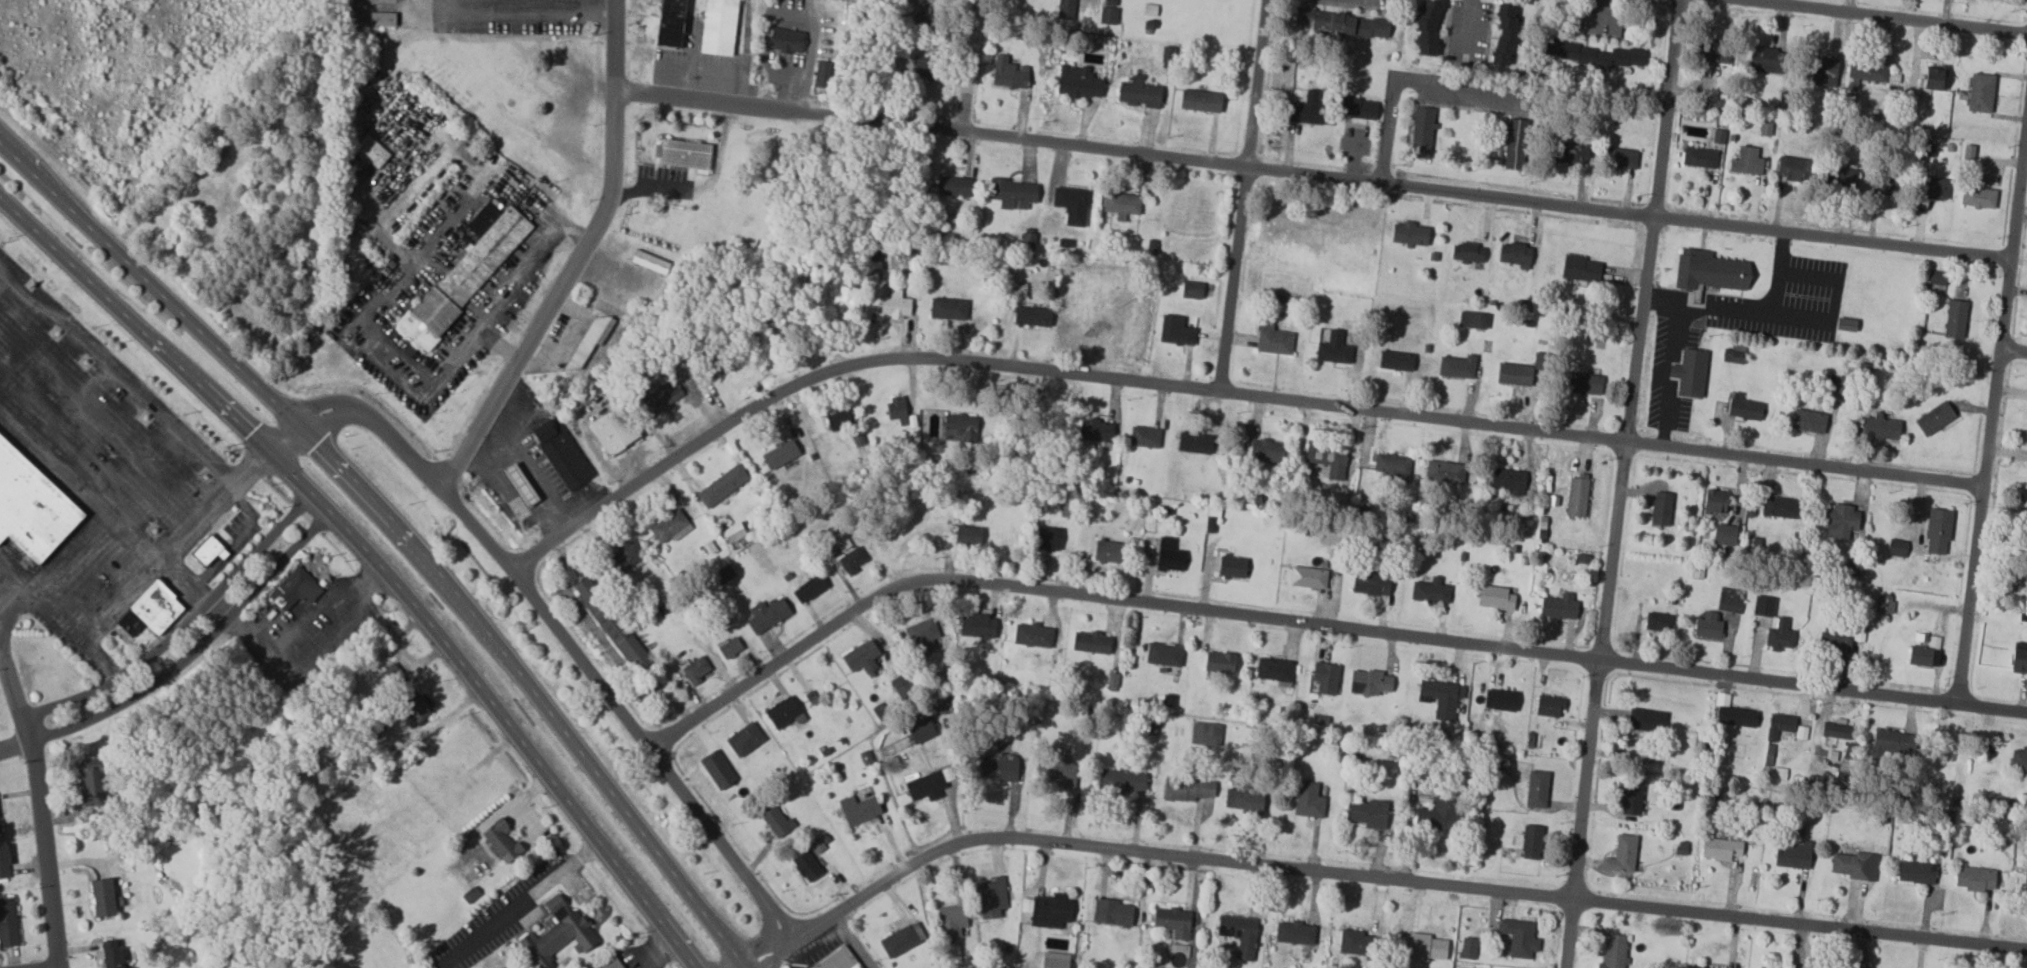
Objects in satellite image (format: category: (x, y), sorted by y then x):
building: (1066, 9)
building: (1149, 10)
building: (1109, 11)
road: (519, 14)
building: (381, 19)
road: (1873, 19)
building: (670, 23)
building: (1341, 23)
building: (718, 27)
building: (1427, 28)
building: (1504, 35)
building: (785, 41)
building: (1714, 51)
building: (1594, 55)
building: (1167, 56)
building: (1766, 61)
road: (966, 66)
building: (917, 68)
building: (1823, 72)
building: (1867, 72)
building: (1009, 73)
building: (822, 74)
road: (805, 77)
building: (1932, 79)
road: (1404, 80)
building: (1078, 81)
building: (1139, 92)
building: (1980, 93)
building: (1200, 100)
building: (1358, 107)
building: (1305, 108)
building: (1765, 126)
building: (1421, 131)
building: (1718, 135)
building: (1515, 143)
building: (1927, 148)
building: (371, 150)
building: (1968, 151)
building: (1570, 152)
building: (682, 153)
building: (1621, 157)
building: (1699, 157)
building: (1746, 160)
building: (1793, 168)
building: (1841, 174)
road: (1307, 179)
building: (1885, 181)
building: (953, 185)
building: (1935, 187)
building: (1012, 193)
road: (1240, 195)
building: (1978, 196)
building: (1071, 204)
building: (1121, 204)
building: (484, 216)
building: (1409, 233)
building: (1027, 240)
building: (1467, 252)
road: (577, 253)
building: (1515, 254)
building: (873, 255)
building: (649, 261)
building: (1580, 268)
building: (1710, 270)
building: (465, 275)
road: (509, 277)
building: (1937, 277)
building: (1191, 289)
building: (895, 305)
building: (948, 308)
road: (1741, 313)
building: (1029, 316)
building: (1955, 318)
building: (1472, 319)
building: (1846, 324)
building: (1175, 330)
road: (1674, 337)
building: (587, 339)
building: (1272, 339)
building: (1333, 348)
building: (1733, 354)
road: (2011, 354)
building: (1395, 360)
building: (718, 364)
building: (1457, 366)
road: (118, 370)
building: (1689, 373)
building: (1514, 374)
road: (1670, 376)
building: (1583, 382)
building: (1840, 387)
road: (1989, 393)
road: (1248, 395)
building: (658, 400)
building: (1744, 407)
building: (897, 409)
building: (1935, 417)
road: (1665, 418)
building: (838, 419)
building: (1809, 420)
traffic signals: (299, 421)
building: (960, 427)
building: (1881, 427)
building: (613, 430)
building: (1095, 430)
building: (1144, 436)
building: (1193, 442)
traffic signals: (274, 446)
building: (1266, 450)
building: (561, 452)
building: (779, 454)
building: (1327, 459)
building: (1391, 464)
building: (1444, 471)
building: (1508, 480)
building: (519, 483)
road: (1615, 483)
building: (721, 485)
building: (1576, 496)
building: (1714, 501)
building: (31, 506)
building: (1779, 507)
building: (1661, 508)
road: (101, 516)
building: (1840, 521)
building: (670, 526)
road: (406, 527)
building: (1938, 530)
building: (733, 532)
building: (967, 534)
building: (1724, 534)
building: (1048, 538)
building: (1897, 547)
building: (207, 550)
building: (1108, 551)
road: (545, 552)
road: (377, 555)
building: (1168, 555)
building: (625, 556)
building: (852, 560)
building: (1231, 566)
road: (147, 570)
building: (1850, 570)
building: (722, 575)
building: (1307, 577)
building: (1370, 583)
building: (809, 588)
building: (293, 589)
building: (1430, 591)
building: (1495, 597)
building: (1730, 600)
building: (1884, 603)
building: (1558, 606)
building: (1763, 606)
building: (149, 610)
building: (766, 614)
building: (1659, 621)
road: (564, 622)
building: (610, 623)
road: (183, 625)
building: (1707, 625)
building: (976, 626)
road: (1359, 630)
building: (1860, 631)
building: (1779, 633)
building: (1032, 635)
building: (923, 637)
building: (1090, 642)
building: (1834, 642)
road: (196, 647)
building: (729, 647)
building: (1925, 652)
building: (1163, 653)
road: (1, 657)
building: (861, 657)
building: (2018, 660)
building: (1219, 662)
road: (304, 666)
building: (695, 669)
building: (395, 677)
building: (1325, 677)
building: (1369, 682)
building: (1441, 697)
building: (1500, 699)
road: (15, 700)
building: (1549, 706)
building: (414, 710)
building: (781, 712)
building: (1647, 719)
road: (691, 722)
building: (1780, 725)
building: (1836, 729)
building: (920, 730)
building: (1205, 733)
building: (744, 739)
building: (1892, 742)
road: (15, 745)
building: (2019, 759)
building: (998, 767)
building: (1057, 773)
building: (1121, 781)
building: (90, 783)
building: (925, 786)
building: (1187, 789)
building: (1537, 789)
building: (1630, 797)
building: (1244, 800)
building: (1308, 800)
building: (858, 809)
building: (1367, 813)
building: (1436, 815)
building: (776, 821)
building: (501, 841)
building: (1531, 842)
building: (817, 845)
building: (1720, 849)
road: (44, 854)
building: (1622, 854)
building: (1793, 855)
building: (3, 861)
building: (805, 865)
building: (1854, 865)
building: (1916, 871)
road: (1370, 878)
building: (1976, 878)
building: (2025, 884)
road: (533, 893)
building: (102, 897)
building: (991, 898)
building: (1048, 910)
building: (1111, 912)
building: (950, 921)
building: (1173, 921)
building: (7, 922)
building: (1294, 933)
building: (557, 934)
building: (1239, 934)
building: (1519, 937)
building: (898, 941)
building: (1354, 942)
building: (1425, 947)
building: (1468, 948)
building: (1614, 951)
building: (111, 954)
building: (839, 959)
building: (1054, 960)
building: (610, 963)
building: (1693, 967)

